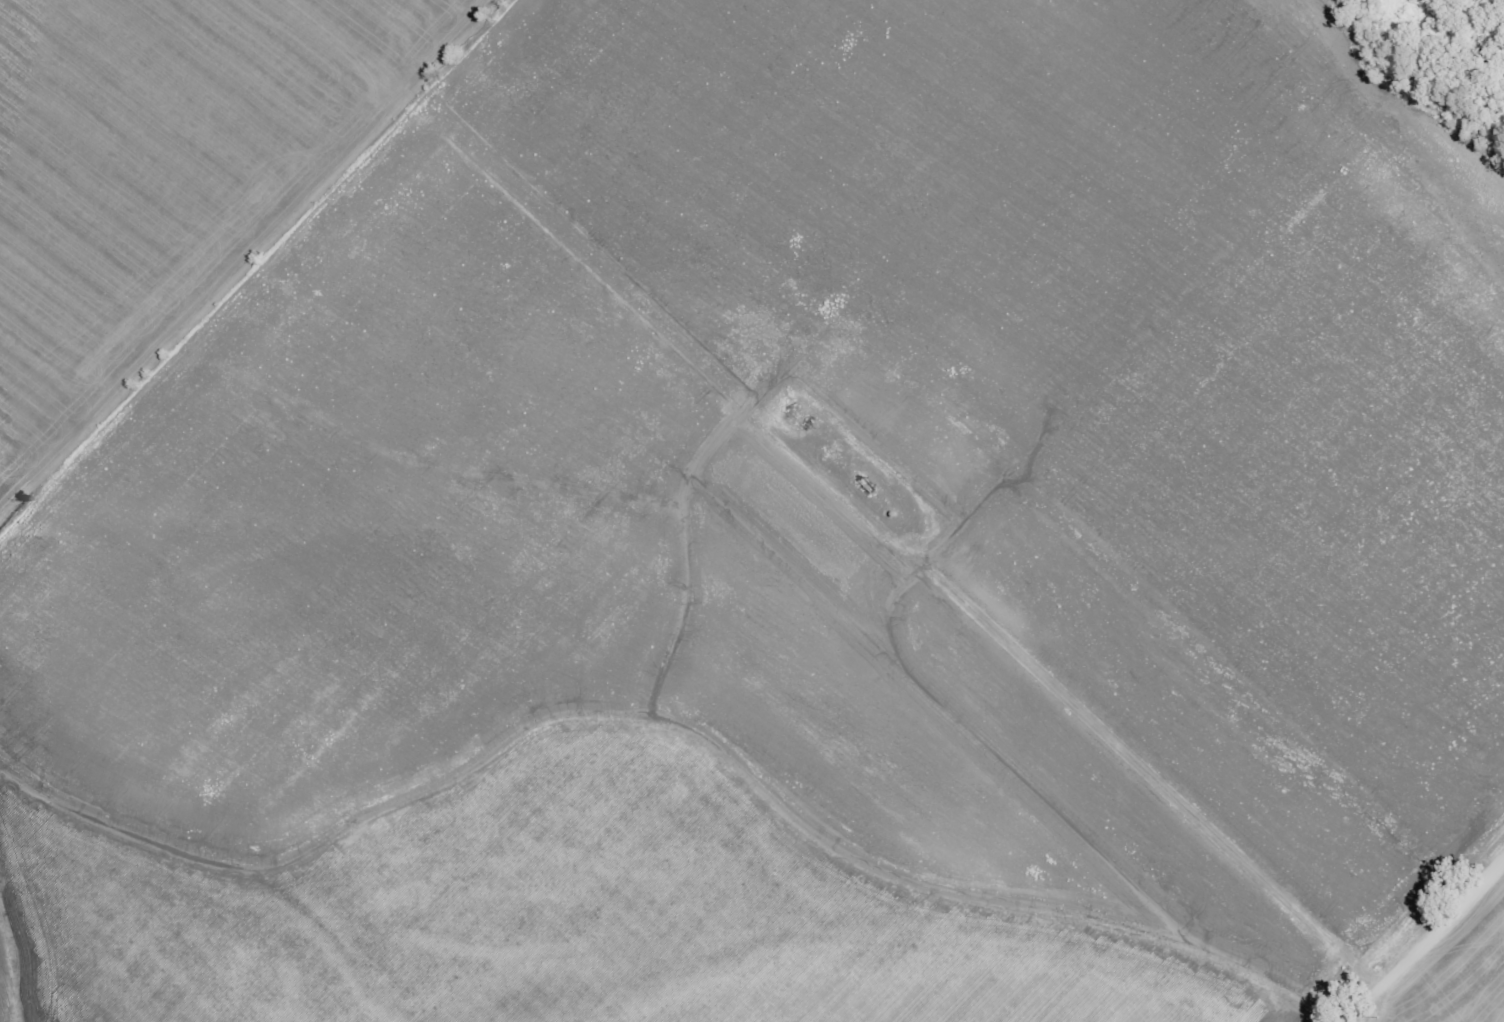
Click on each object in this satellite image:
road: (1424, 946)

